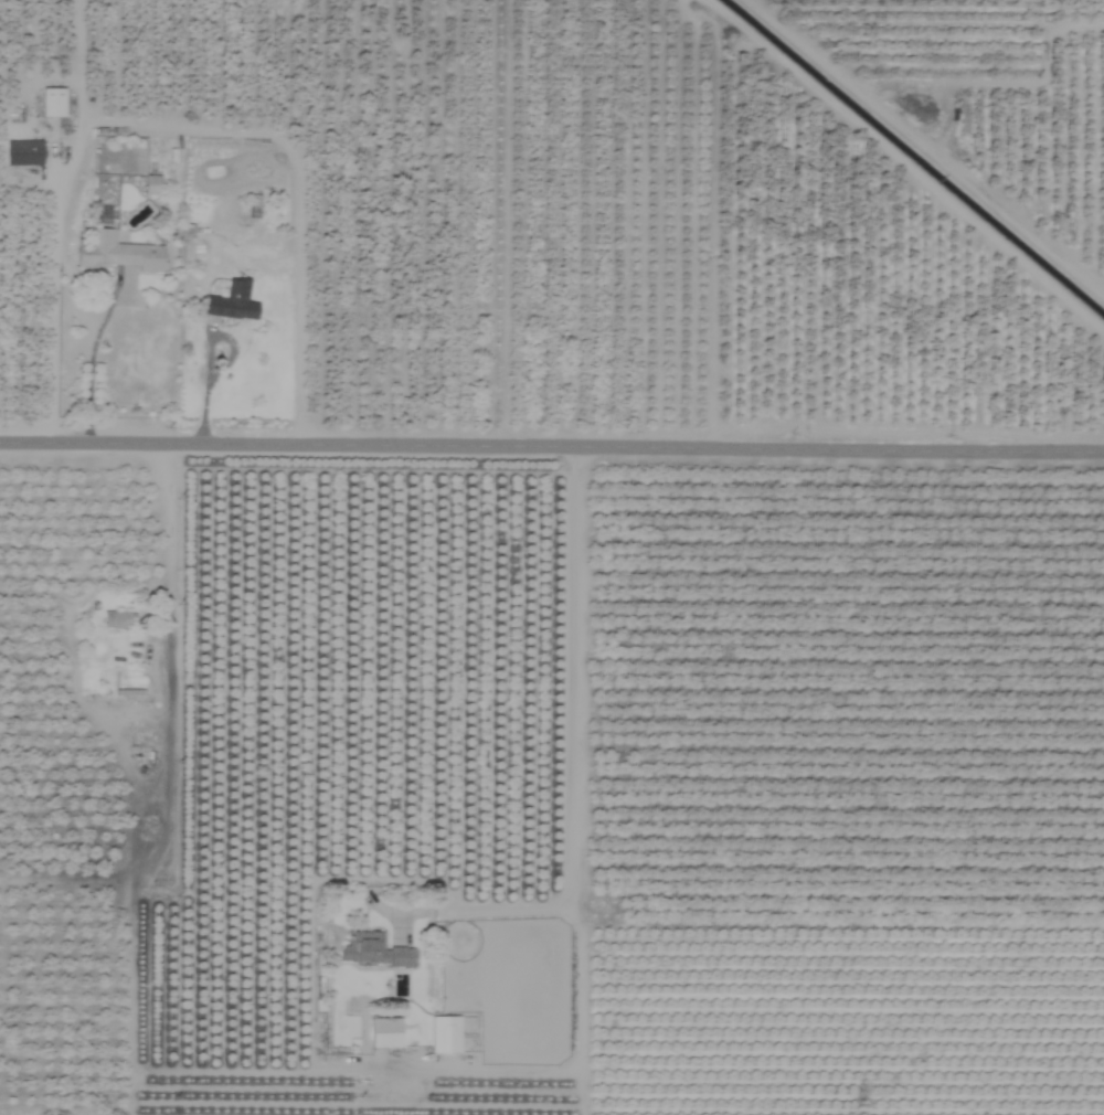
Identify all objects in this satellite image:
building: (52, 103)
road: (171, 134)
building: (22, 153)
building: (151, 184)
building: (184, 245)
building: (115, 254)
building: (230, 302)
road: (89, 370)
road: (201, 391)
road: (552, 443)
crop: (552, 557)
road: (166, 581)
building: (117, 619)
road: (573, 733)
building: (371, 951)
building: (384, 1033)
building: (444, 1036)
road: (569, 1070)

